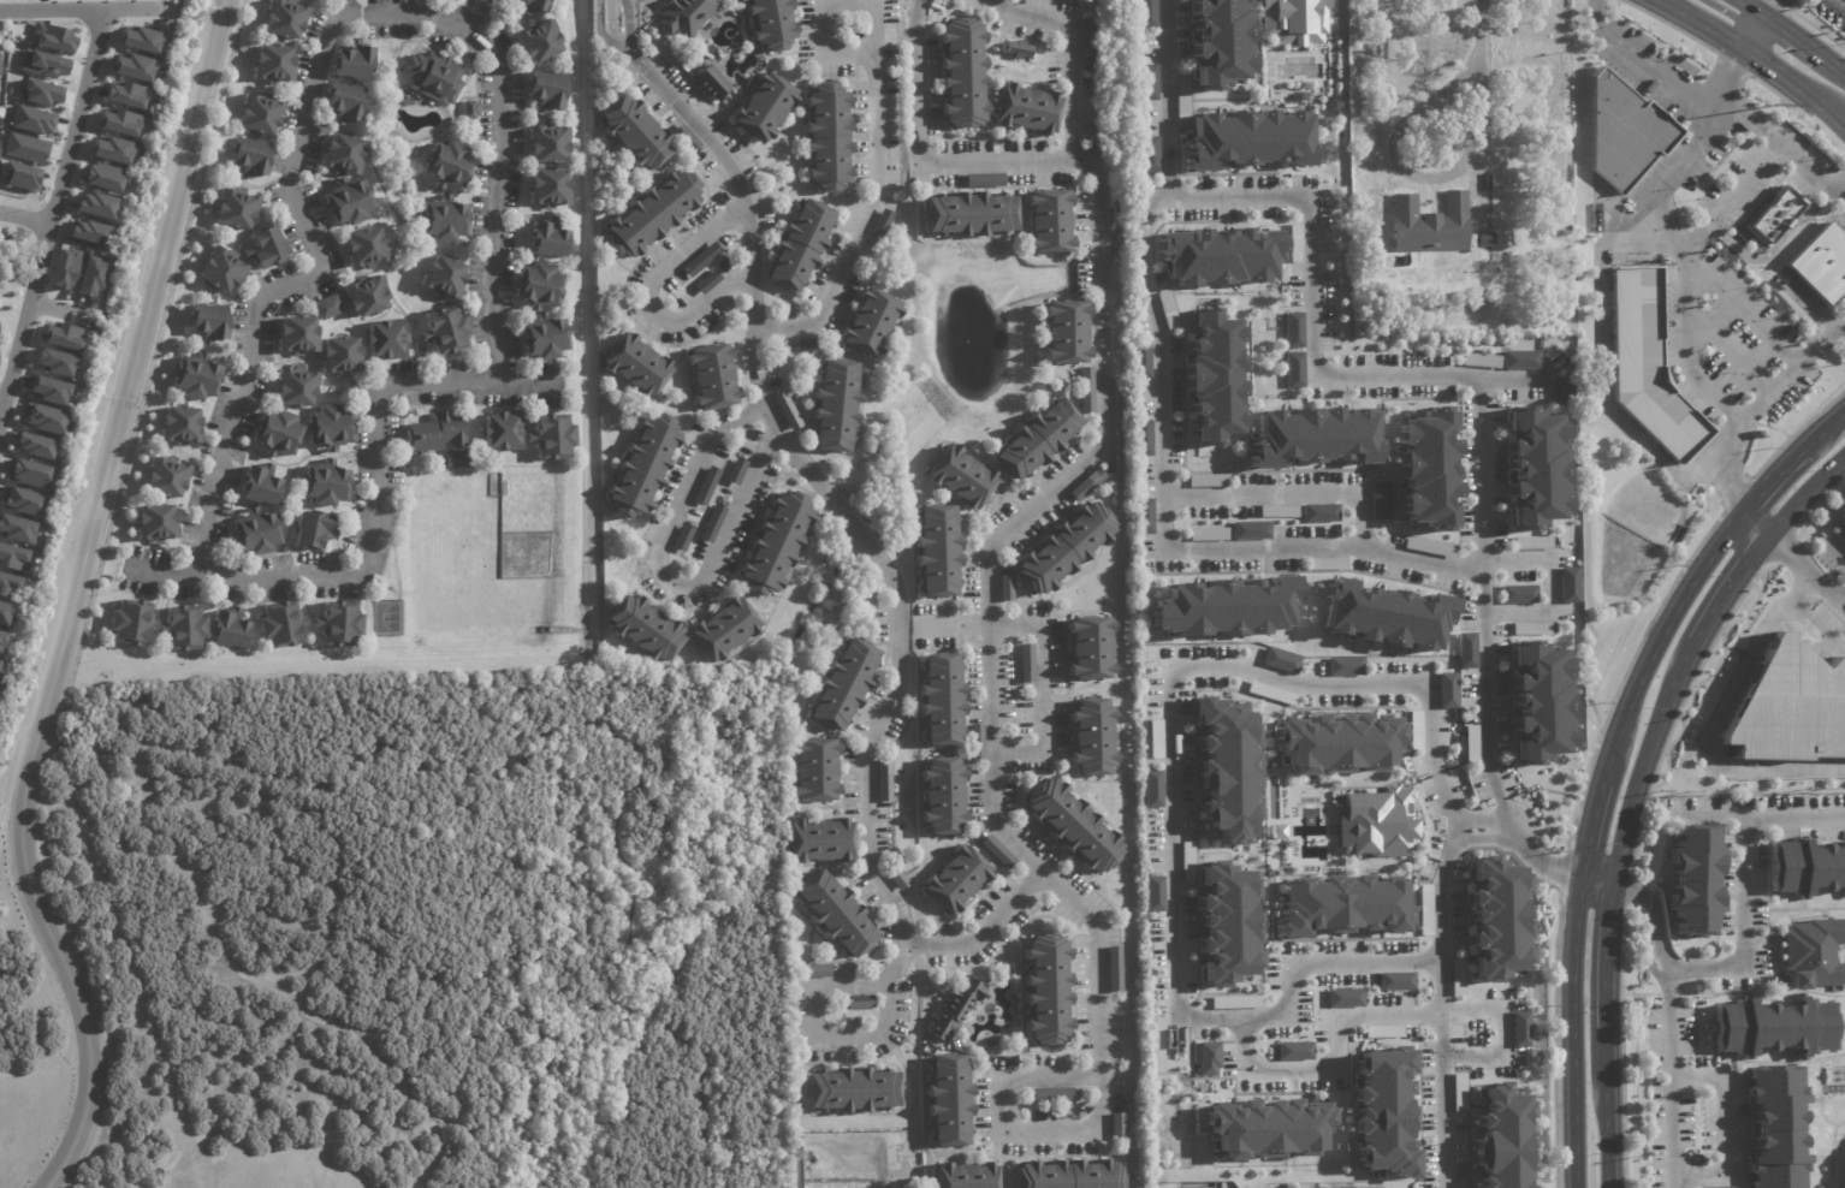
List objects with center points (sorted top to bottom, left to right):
road: (823, 4)
building: (532, 6)
road: (1837, 6)
road: (1743, 8)
road: (1763, 8)
road: (78, 10)
building: (1145, 13)
road: (1730, 13)
building: (683, 14)
building: (284, 19)
building: (1292, 20)
building: (772, 23)
road: (1699, 25)
road: (1749, 35)
building: (53, 37)
building: (1085, 37)
building: (141, 38)
building: (1215, 40)
building: (538, 42)
road: (1798, 48)
building: (1019, 49)
road: (1067, 51)
building: (273, 63)
building: (352, 63)
building: (42, 64)
building: (134, 67)
building: (962, 72)
building: (433, 78)
road: (1841, 81)
road: (1479, 82)
building: (710, 83)
building: (1147, 83)
building: (545, 90)
road: (1792, 90)
building: (40, 93)
building: (126, 95)
road: (1167, 97)
road: (1715, 97)
building: (345, 102)
power tower: (1776, 106)
building: (763, 107)
building: (469, 109)
building: (1025, 109)
building: (259, 114)
building: (31, 120)
building: (119, 121)
building: (634, 132)
building: (1624, 135)
road: (1699, 135)
building: (684, 137)
building: (829, 138)
building: (1246, 138)
building: (546, 143)
building: (25, 148)
building: (112, 149)
building: (343, 153)
building: (1147, 154)
building: (250, 158)
building: (447, 165)
building: (19, 176)
building: (102, 177)
building: (981, 180)
building: (547, 186)
road: (1838, 190)
road: (1246, 195)
building: (348, 201)
building: (95, 204)
building: (235, 208)
road: (492, 212)
building: (651, 214)
building: (968, 214)
building: (1776, 215)
road: (54, 218)
building: (444, 219)
road: (25, 220)
road: (860, 220)
building: (1048, 221)
building: (880, 222)
building: (1429, 224)
building: (89, 232)
road: (751, 232)
building: (548, 238)
building: (1294, 243)
building: (800, 245)
building: (265, 246)
building: (364, 246)
park: (12, 250)
road: (1772, 250)
building: (1220, 253)
building: (701, 262)
building: (1822, 263)
building: (64, 267)
building: (221, 269)
building: (90, 277)
building: (444, 278)
road: (1684, 278)
building: (706, 281)
road: (1718, 284)
building: (538, 285)
road: (648, 295)
building: (367, 296)
building: (210, 297)
building: (327, 307)
road: (61, 311)
building: (209, 322)
building: (870, 323)
building: (445, 329)
building: (1293, 329)
road: (1840, 331)
building: (1066, 332)
building: (297, 334)
building: (63, 335)
building: (542, 338)
building: (385, 339)
road: (1726, 351)
building: (340, 355)
building: (1140, 360)
building: (1479, 360)
building: (1520, 360)
road: (1600, 360)
building: (57, 362)
building: (636, 364)
building: (1647, 364)
building: (1294, 369)
road: (1787, 370)
building: (195, 376)
building: (712, 376)
building: (1211, 380)
building: (295, 388)
building: (49, 390)
building: (1085, 390)
building: (1561, 390)
road: (4, 400)
road: (99, 405)
building: (835, 405)
building: (785, 411)
building: (43, 418)
building: (179, 426)
building: (330, 427)
road: (229, 428)
building: (434, 430)
building: (503, 430)
building: (275, 434)
building: (1312, 434)
road: (1821, 435)
building: (551, 436)
building: (1141, 438)
building: (1037, 439)
road: (1479, 441)
building: (34, 445)
road: (1713, 451)
building: (455, 458)
building: (643, 467)
building: (1422, 469)
building: (1525, 470)
building: (735, 471)
building: (26, 473)
building: (165, 477)
building: (961, 477)
road: (1060, 482)
building: (325, 483)
building: (1086, 483)
road: (1726, 483)
building: (261, 485)
building: (705, 485)
road: (1770, 485)
road: (1358, 494)
road: (1803, 499)
building: (22, 501)
building: (1380, 501)
building: (1319, 512)
building: (1144, 516)
building: (1841, 517)
building: (154, 523)
building: (711, 523)
road: (849, 524)
road: (1752, 525)
building: (16, 529)
building: (314, 530)
building: (1251, 530)
building: (255, 531)
building: (1206, 534)
building: (681, 539)
building: (1532, 541)
building: (775, 543)
building: (1436, 547)
building: (1062, 550)
building: (937, 552)
road: (1838, 553)
building: (12, 558)
road: (1804, 572)
road: (663, 576)
road: (1550, 583)
building: (1568, 584)
building: (8, 586)
road: (1794, 586)
building: (1004, 588)
road: (1726, 592)
building: (1518, 594)
road: (73, 599)
road: (1840, 600)
building: (1217, 607)
building: (1376, 612)
building: (4, 614)
building: (338, 623)
building: (130, 624)
building: (280, 624)
building: (640, 625)
building: (230, 628)
building: (183, 629)
building: (724, 629)
road: (1815, 629)
building: (1, 638)
road: (1654, 638)
building: (1088, 647)
building: (1465, 651)
building: (1281, 660)
road: (1039, 663)
building: (1025, 665)
building: (1345, 666)
building: (843, 685)
building: (1447, 690)
building: (1271, 693)
building: (939, 700)
building: (1541, 701)
building: (1788, 707)
road: (1707, 735)
building: (1091, 737)
building: (1333, 737)
road: (597, 739)
building: (974, 744)
building: (1217, 756)
road: (1643, 761)
building: (815, 771)
road: (867, 771)
building: (883, 780)
building: (1151, 788)
road: (1169, 792)
building: (942, 797)
building: (1375, 824)
building: (1072, 825)
road: (1586, 832)
road: (1520, 839)
building: (820, 842)
building: (995, 853)
building: (1805, 868)
building: (895, 878)
building: (956, 879)
building: (1693, 880)
road: (1592, 883)
road: (1746, 883)
park: (378, 886)
building: (1153, 893)
building: (1337, 907)
road: (1654, 909)
building: (835, 914)
road: (1441, 915)
building: (1496, 916)
building: (1222, 919)
road: (978, 932)
building: (1813, 955)
road: (244, 966)
building: (1114, 970)
building: (815, 972)
road: (1607, 979)
building: (1395, 980)
building: (1779, 984)
building: (1046, 991)
building: (1345, 998)
building: (859, 1004)
road: (1496, 1006)
building: (954, 1010)
building: (1773, 1028)
building: (1520, 1029)
road: (814, 1032)
road: (1567, 1033)
building: (1294, 1051)
building: (1208, 1058)
road: (1334, 1061)
road: (1669, 1075)
building: (853, 1091)
building: (1050, 1095)
building: (948, 1103)
building: (1384, 1104)
road: (1444, 1121)
road: (1725, 1125)
building: (1116, 1127)
building: (1775, 1127)
road: (1001, 1128)
building: (1264, 1128)
road: (1604, 1130)
building: (1500, 1144)
park: (261, 1172)
building: (1067, 1176)
building: (966, 1177)
building: (1843, 1186)
building: (1335, 1187)
building: (1715, 1187)

